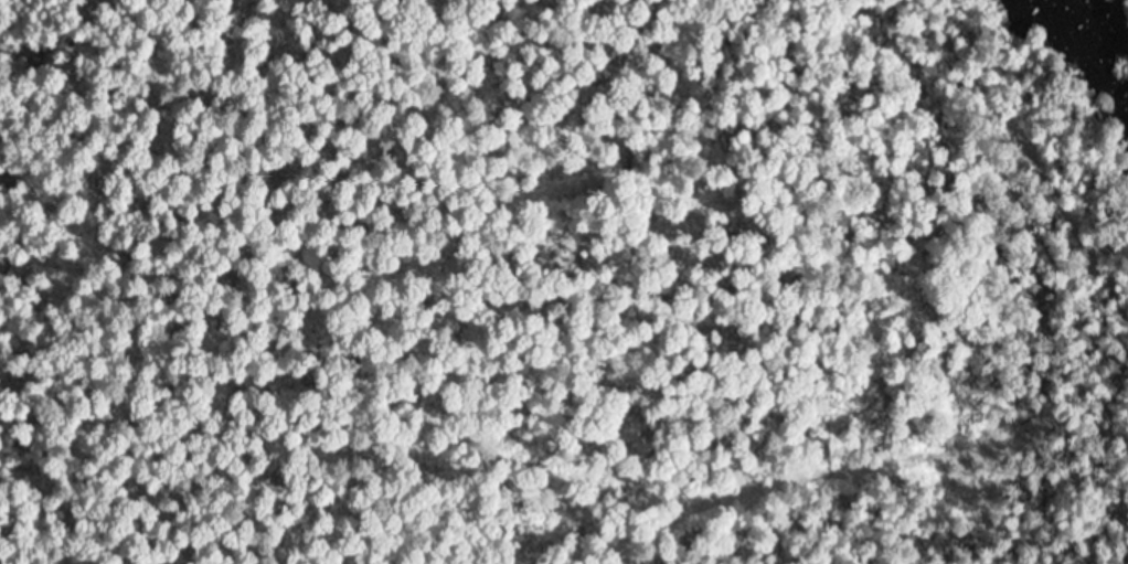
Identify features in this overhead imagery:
river: (1094, 43)

